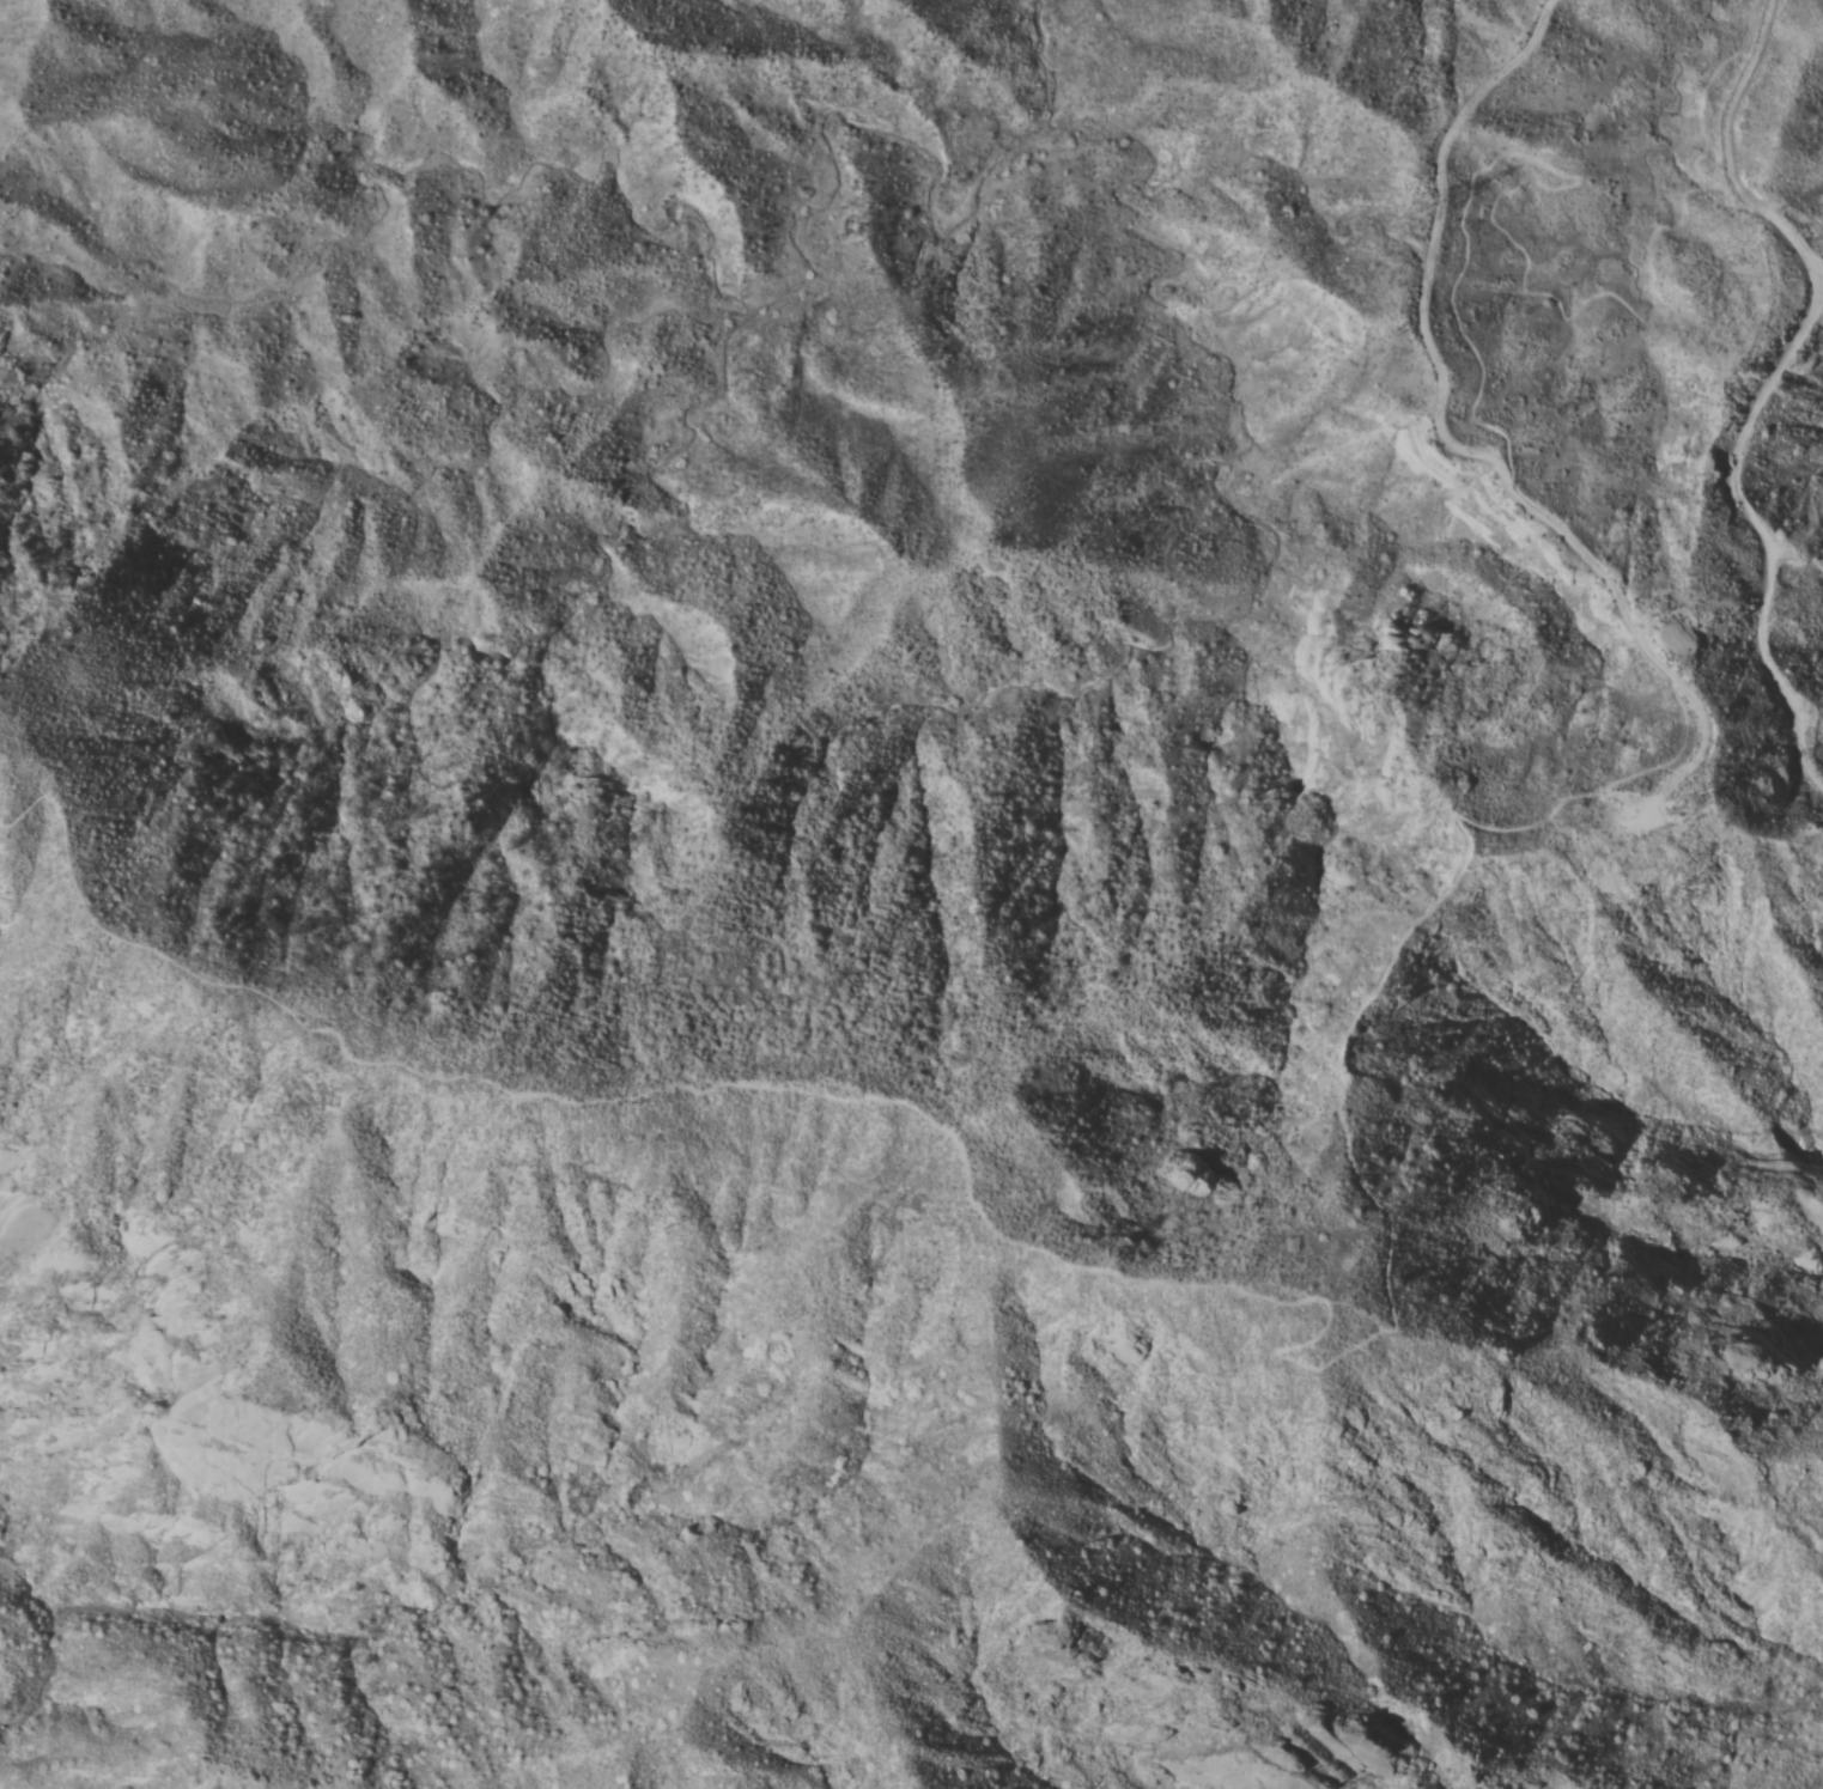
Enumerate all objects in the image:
power tower: (1423, 209)
road: (1519, 243)
road: (1435, 245)
road: (1769, 384)
road: (1597, 565)
road: (1704, 747)
power tower: (1629, 835)
road: (1111, 1273)

